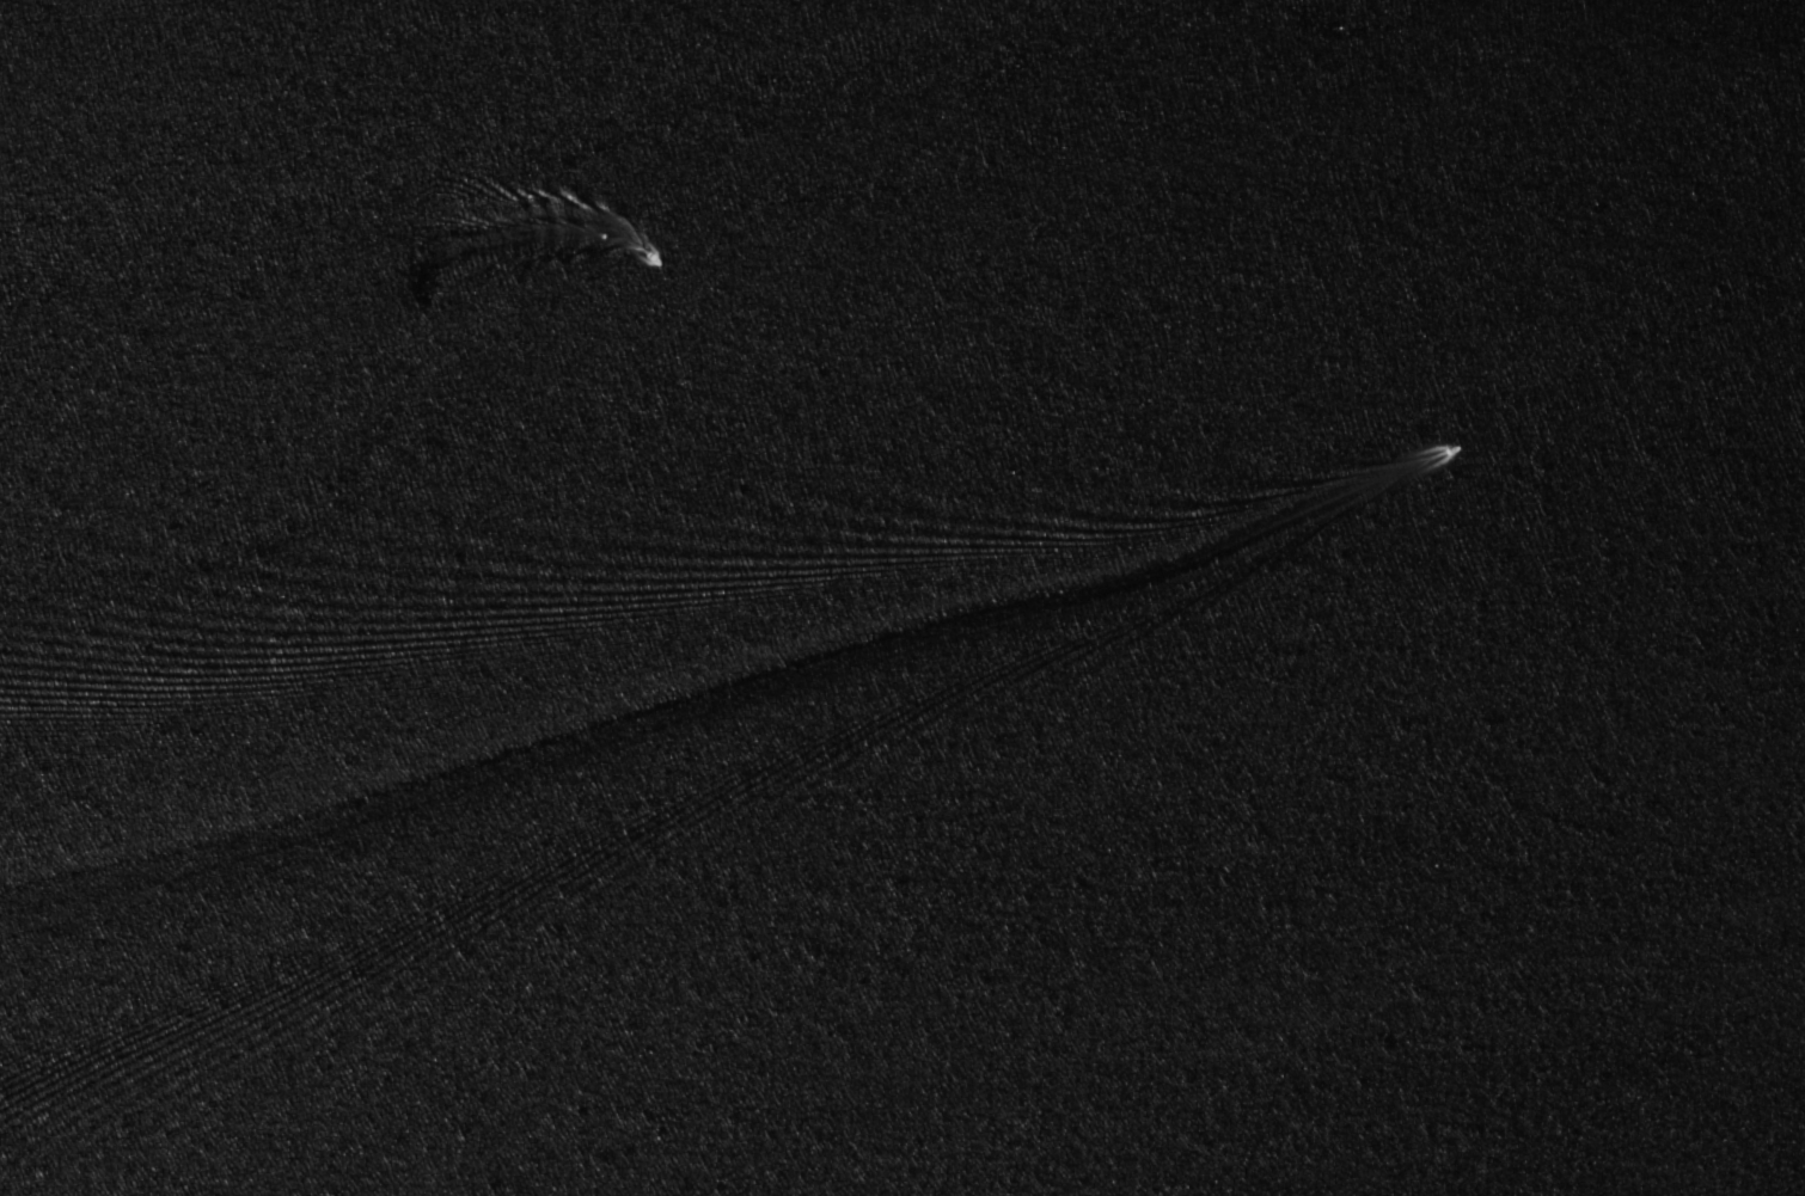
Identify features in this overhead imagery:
river: (681, 100)

